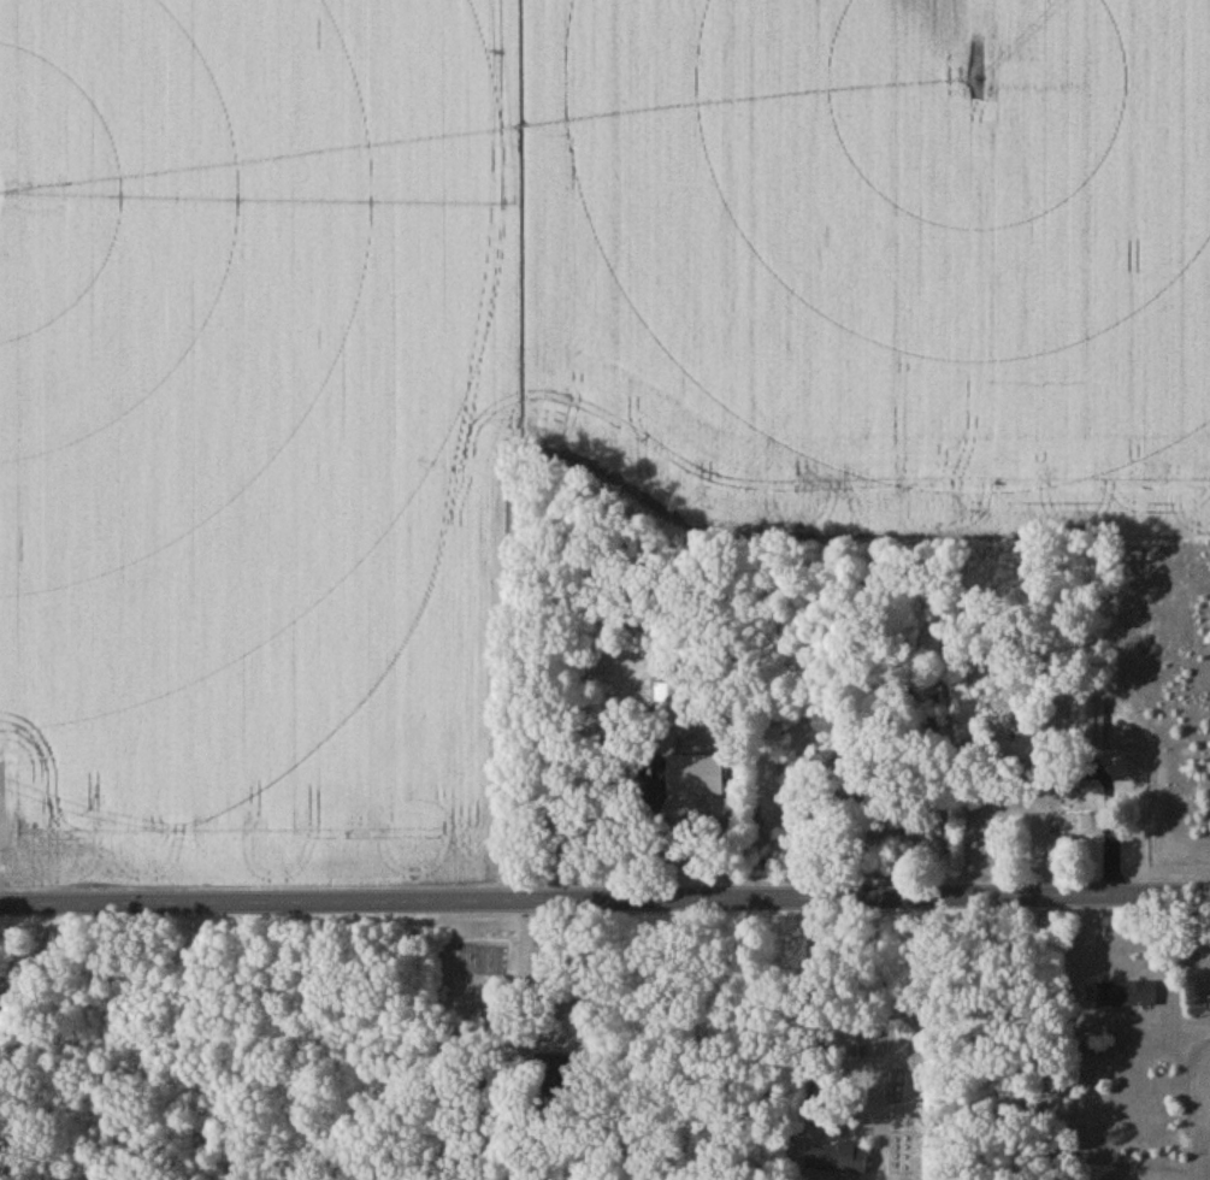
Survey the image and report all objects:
building: (932, 662)
building: (668, 708)
building: (825, 725)
building: (1087, 728)
building: (719, 796)
road: (653, 810)
road: (604, 899)
building: (1127, 997)
road: (827, 1001)
building: (840, 1162)

